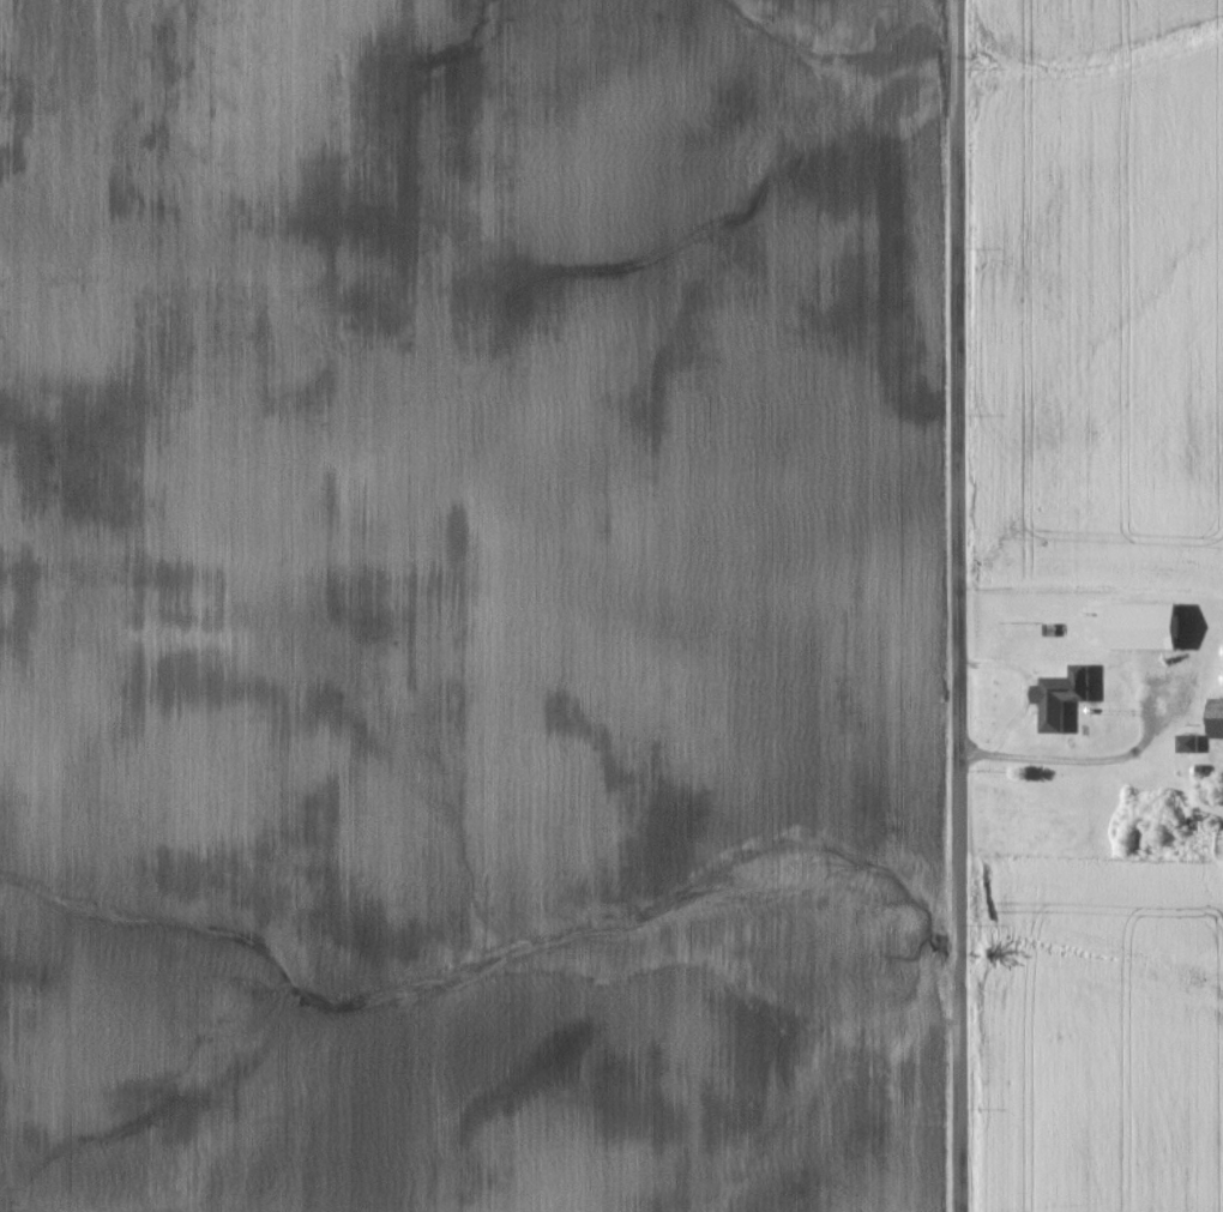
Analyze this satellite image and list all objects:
road: (962, 605)
building: (1151, 628)
road: (1030, 689)
building: (1066, 698)
building: (1218, 719)
building: (1192, 744)
road: (1066, 762)

